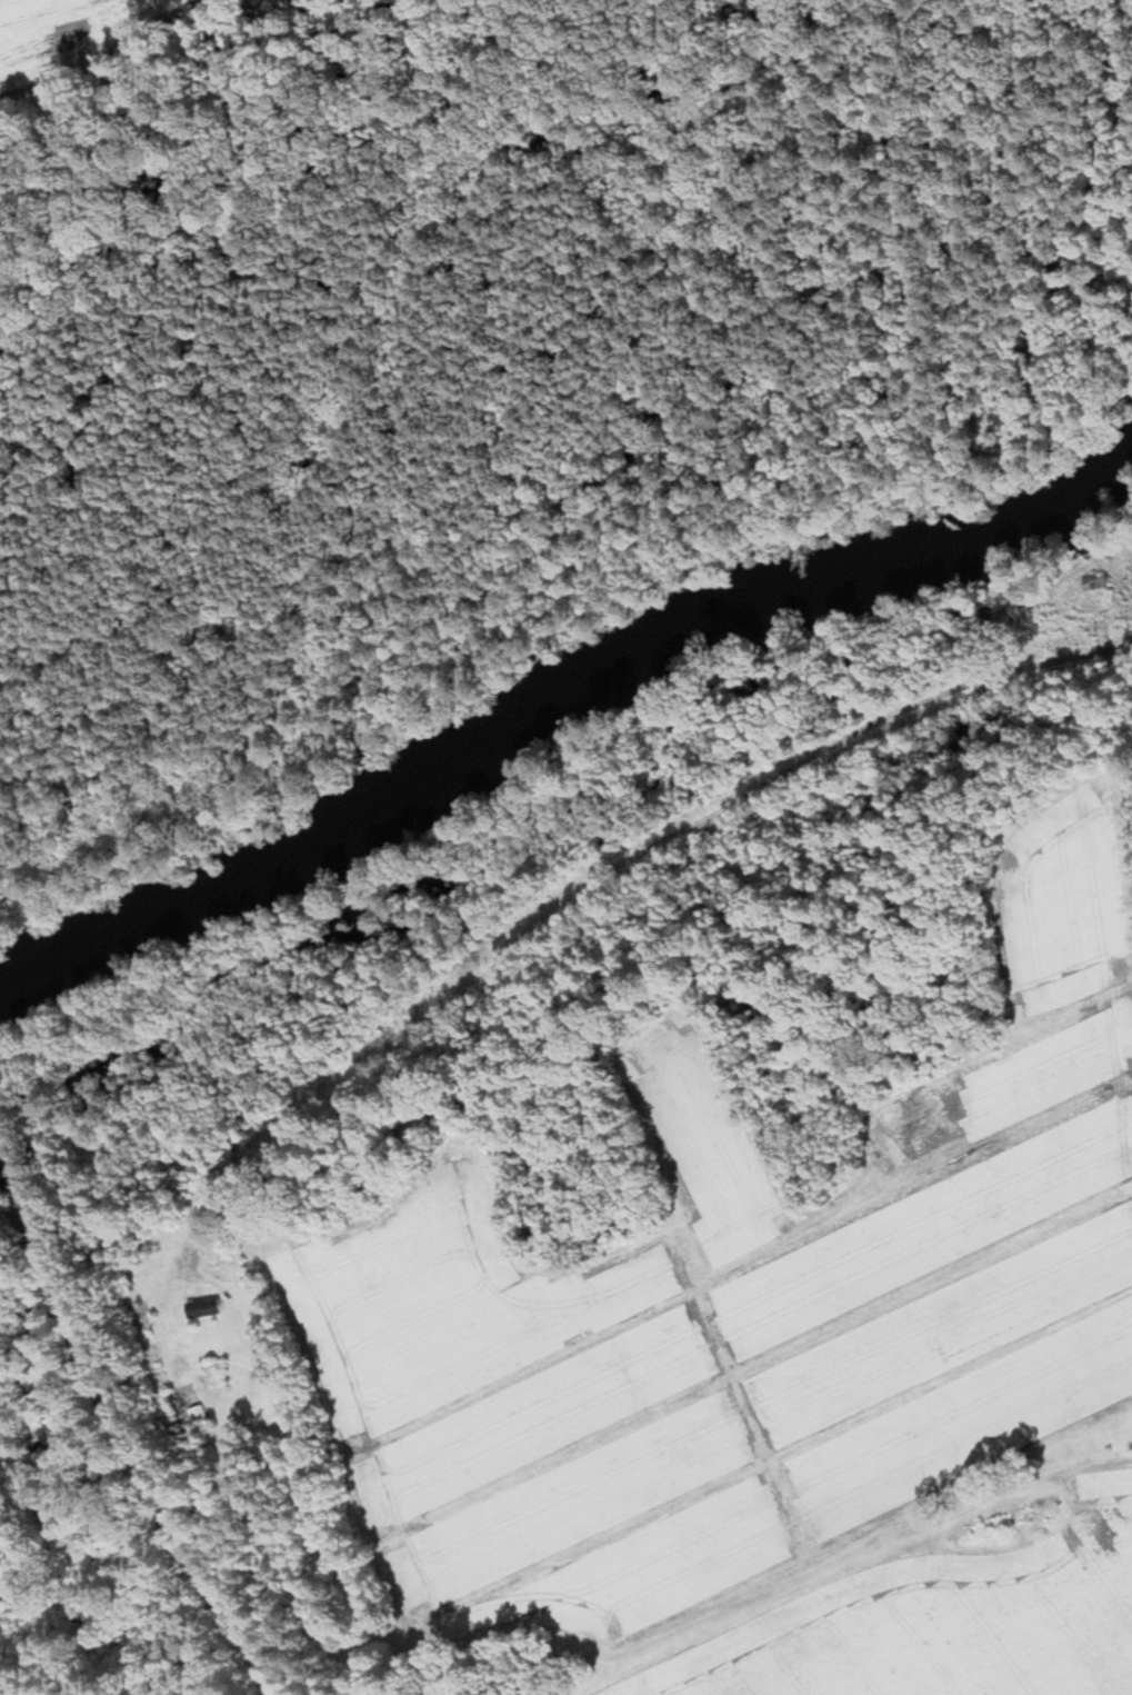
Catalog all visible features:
river: (550, 678)
road: (603, 873)
building: (204, 1308)
railway: (128, 1419)

